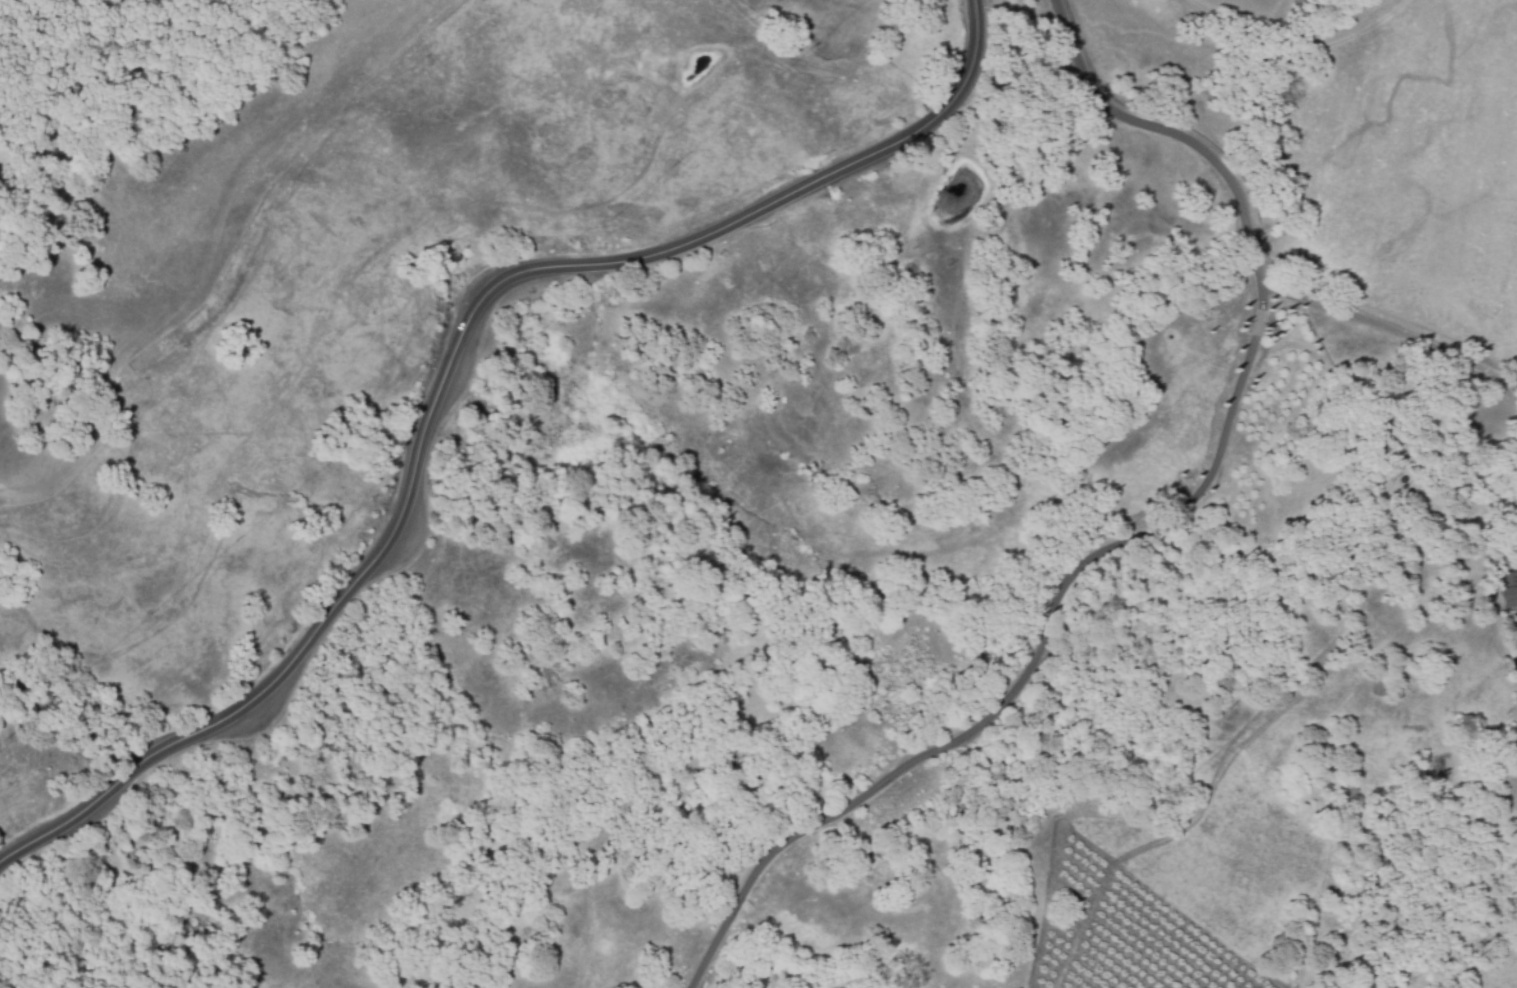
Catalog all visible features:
road: (1383, 339)
road: (450, 360)
road: (1129, 533)
building: (1509, 588)

